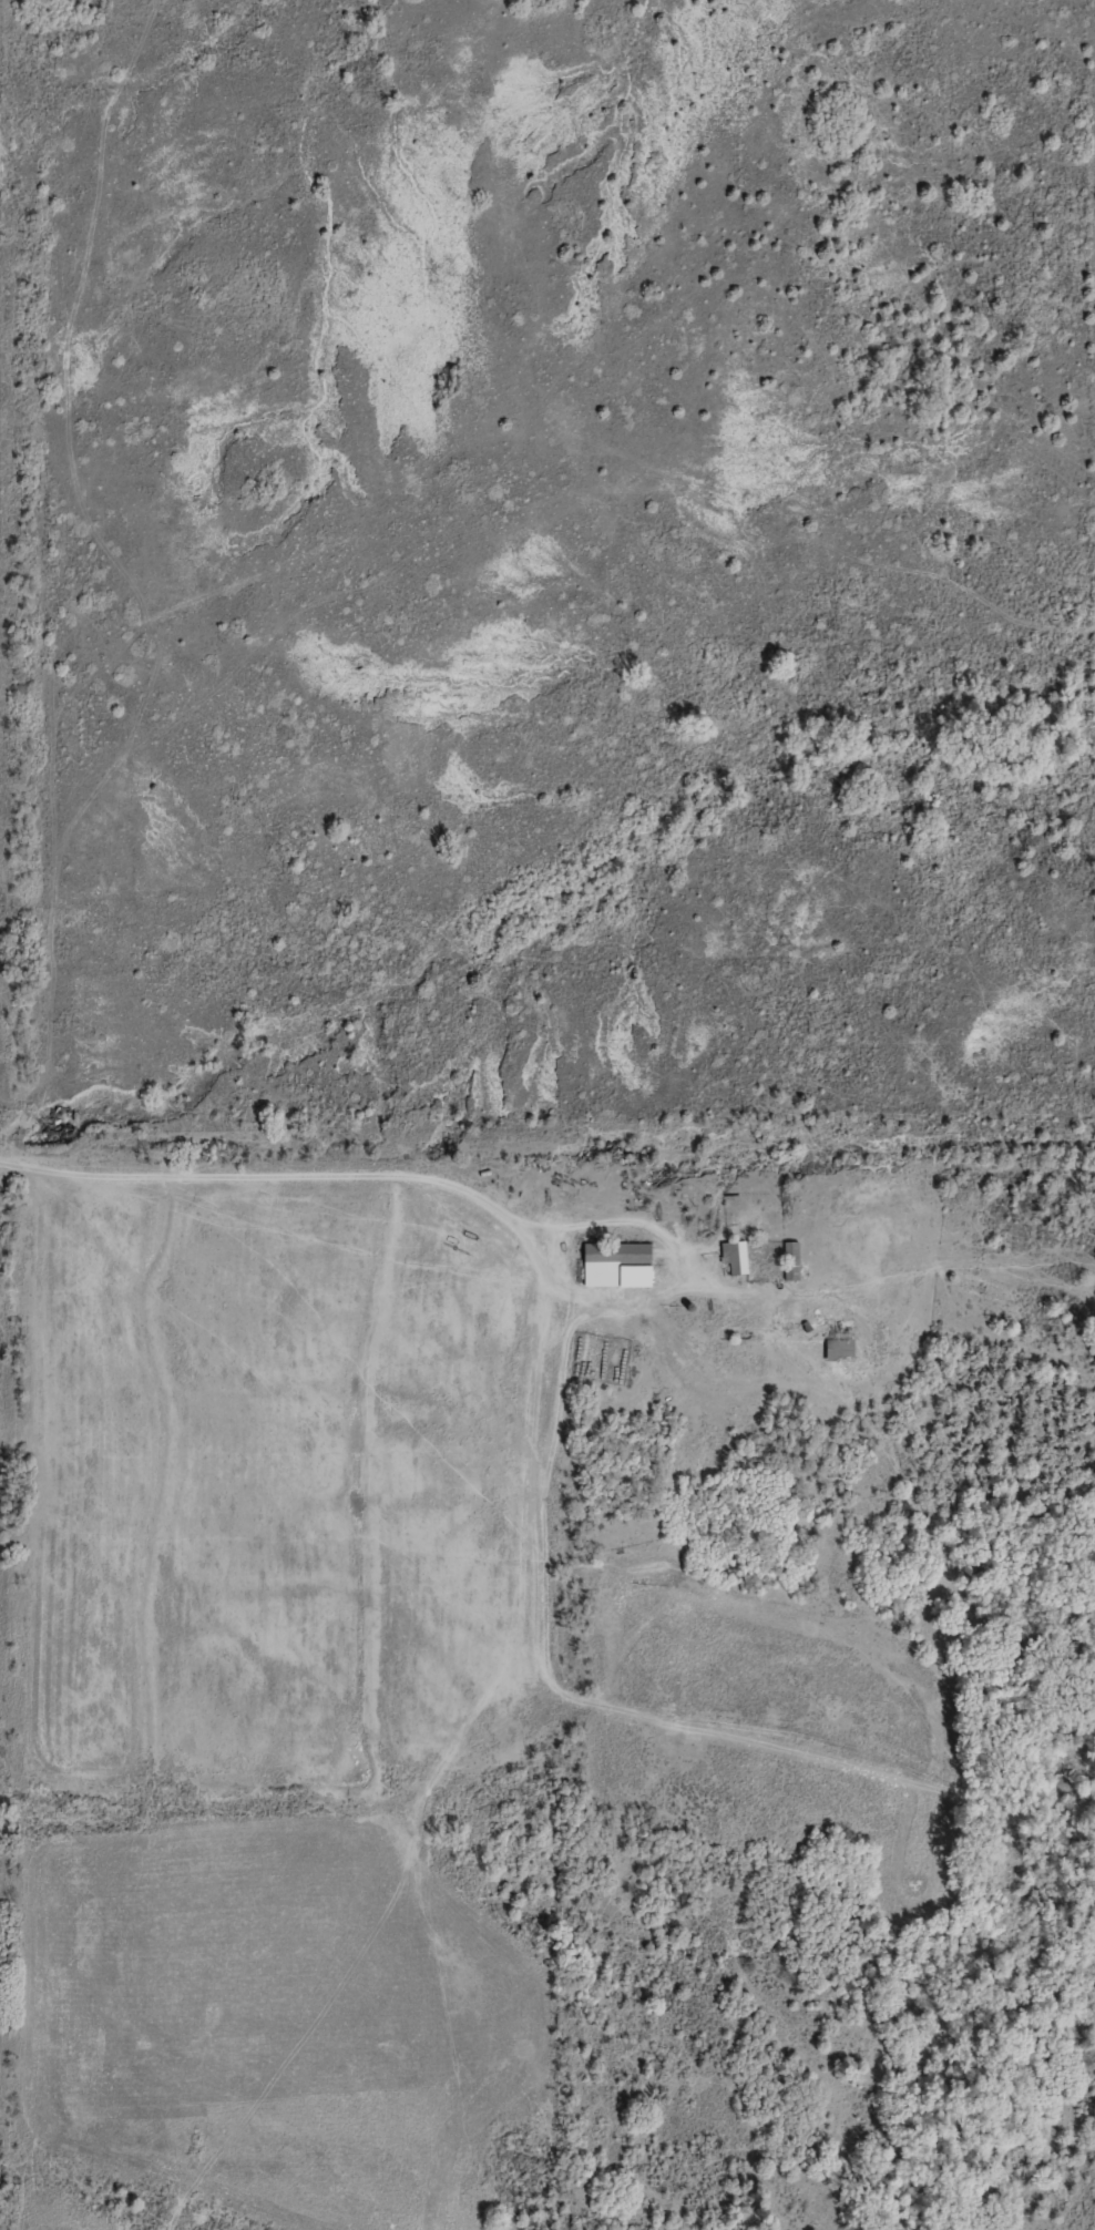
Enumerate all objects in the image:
building: (733, 1255)
building: (610, 1260)
building: (789, 1260)
building: (837, 1342)

